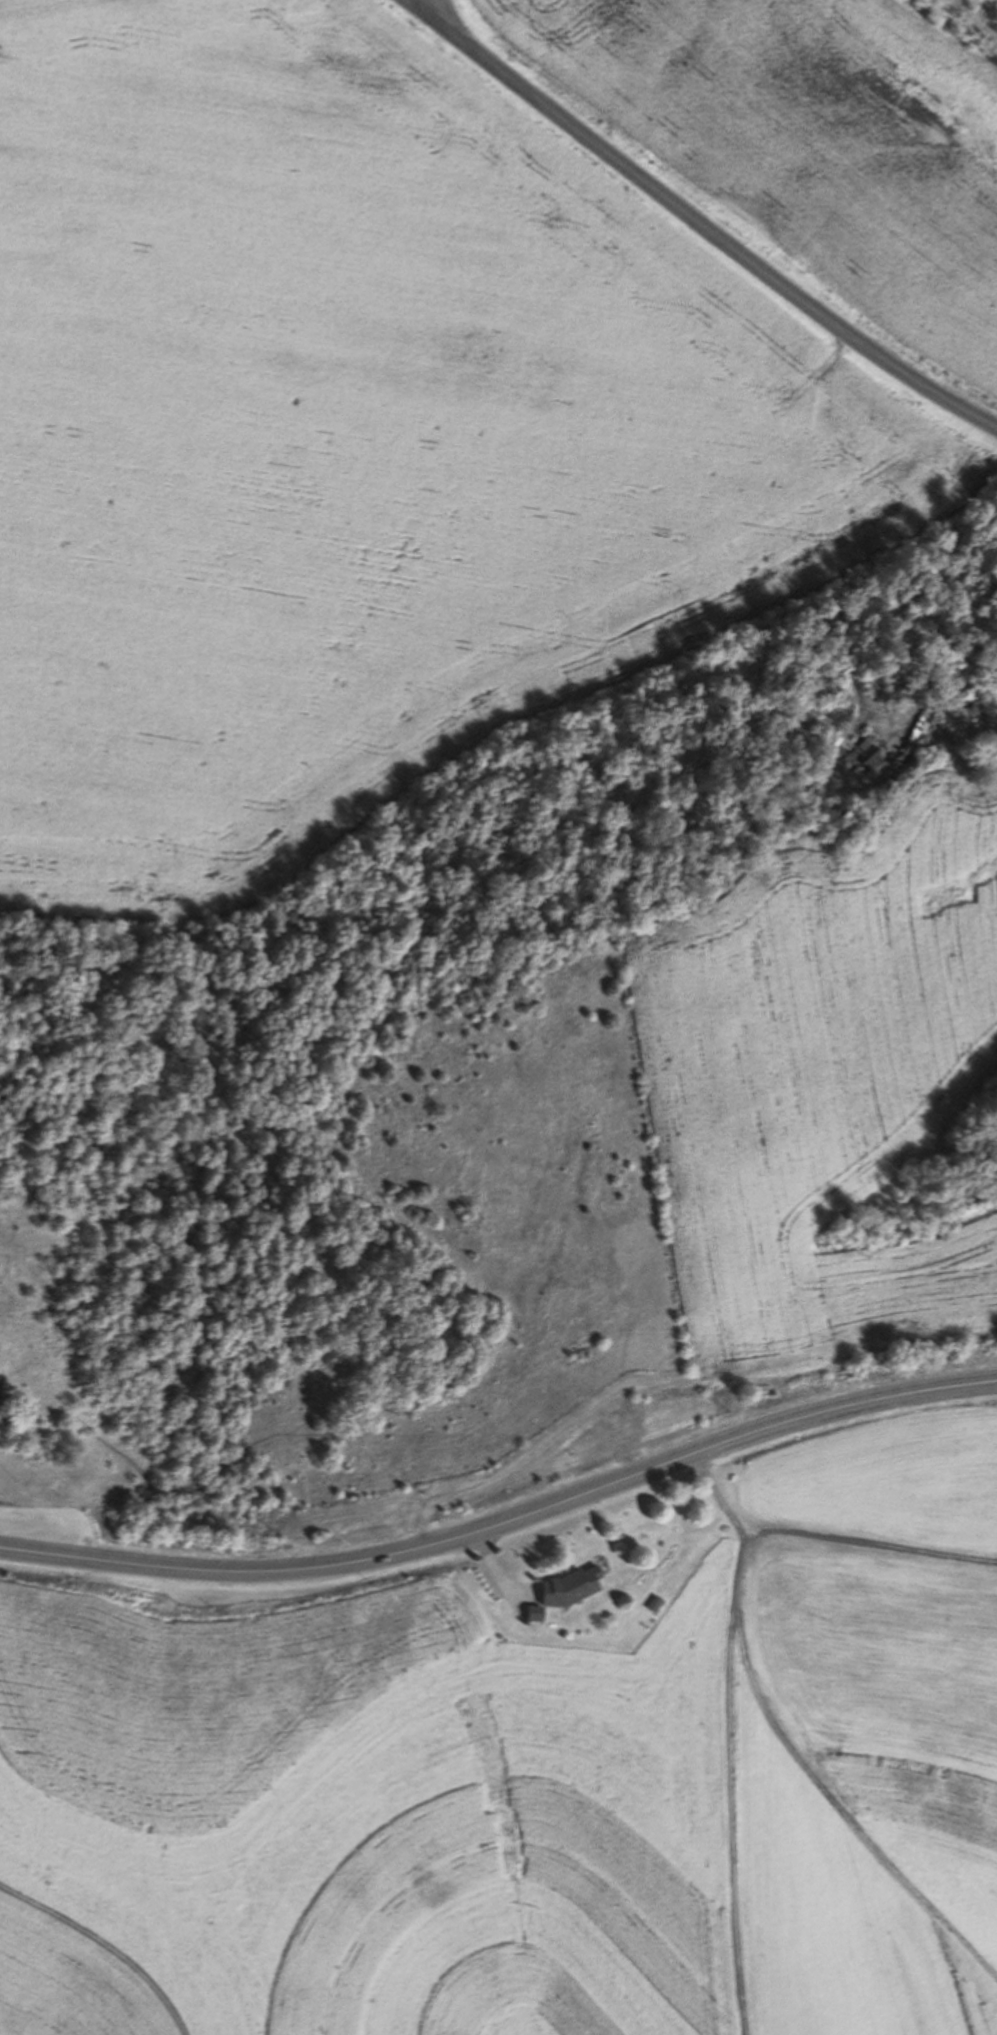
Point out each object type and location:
road: (417, 6)
road: (426, 6)
road: (706, 226)
building: (901, 693)
road: (951, 693)
building: (965, 704)
building: (863, 756)
road: (505, 1521)
road: (818, 1550)
building: (575, 1587)
building: (538, 1614)
road: (731, 1788)
road: (843, 1800)

